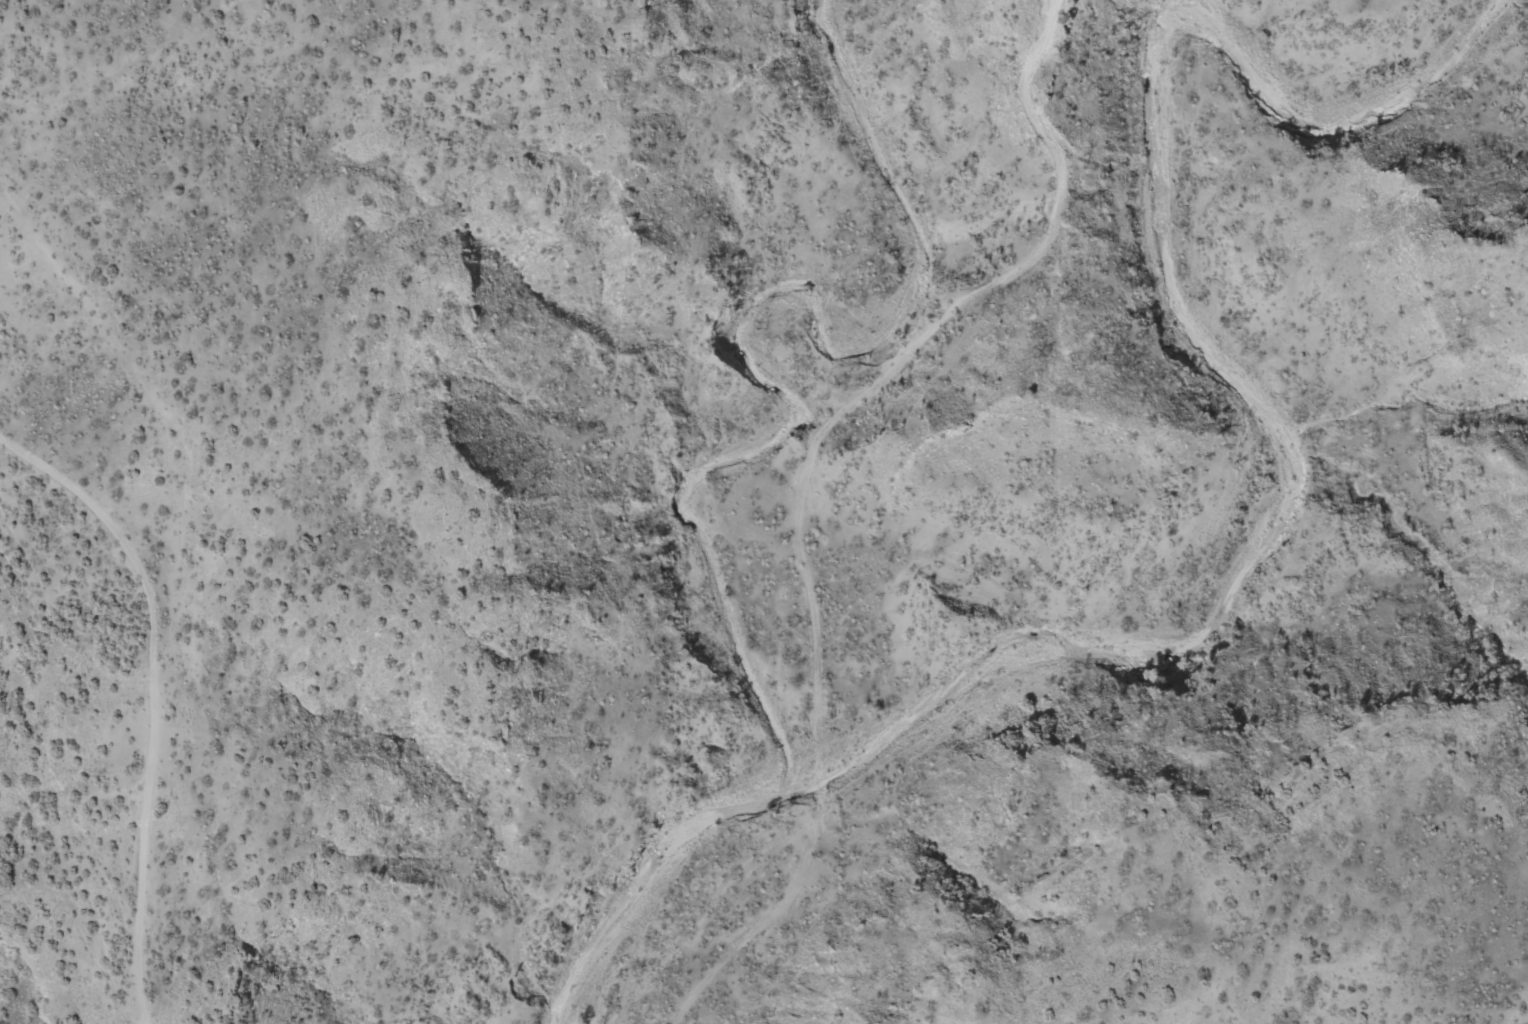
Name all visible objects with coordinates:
road: (130, 804)

